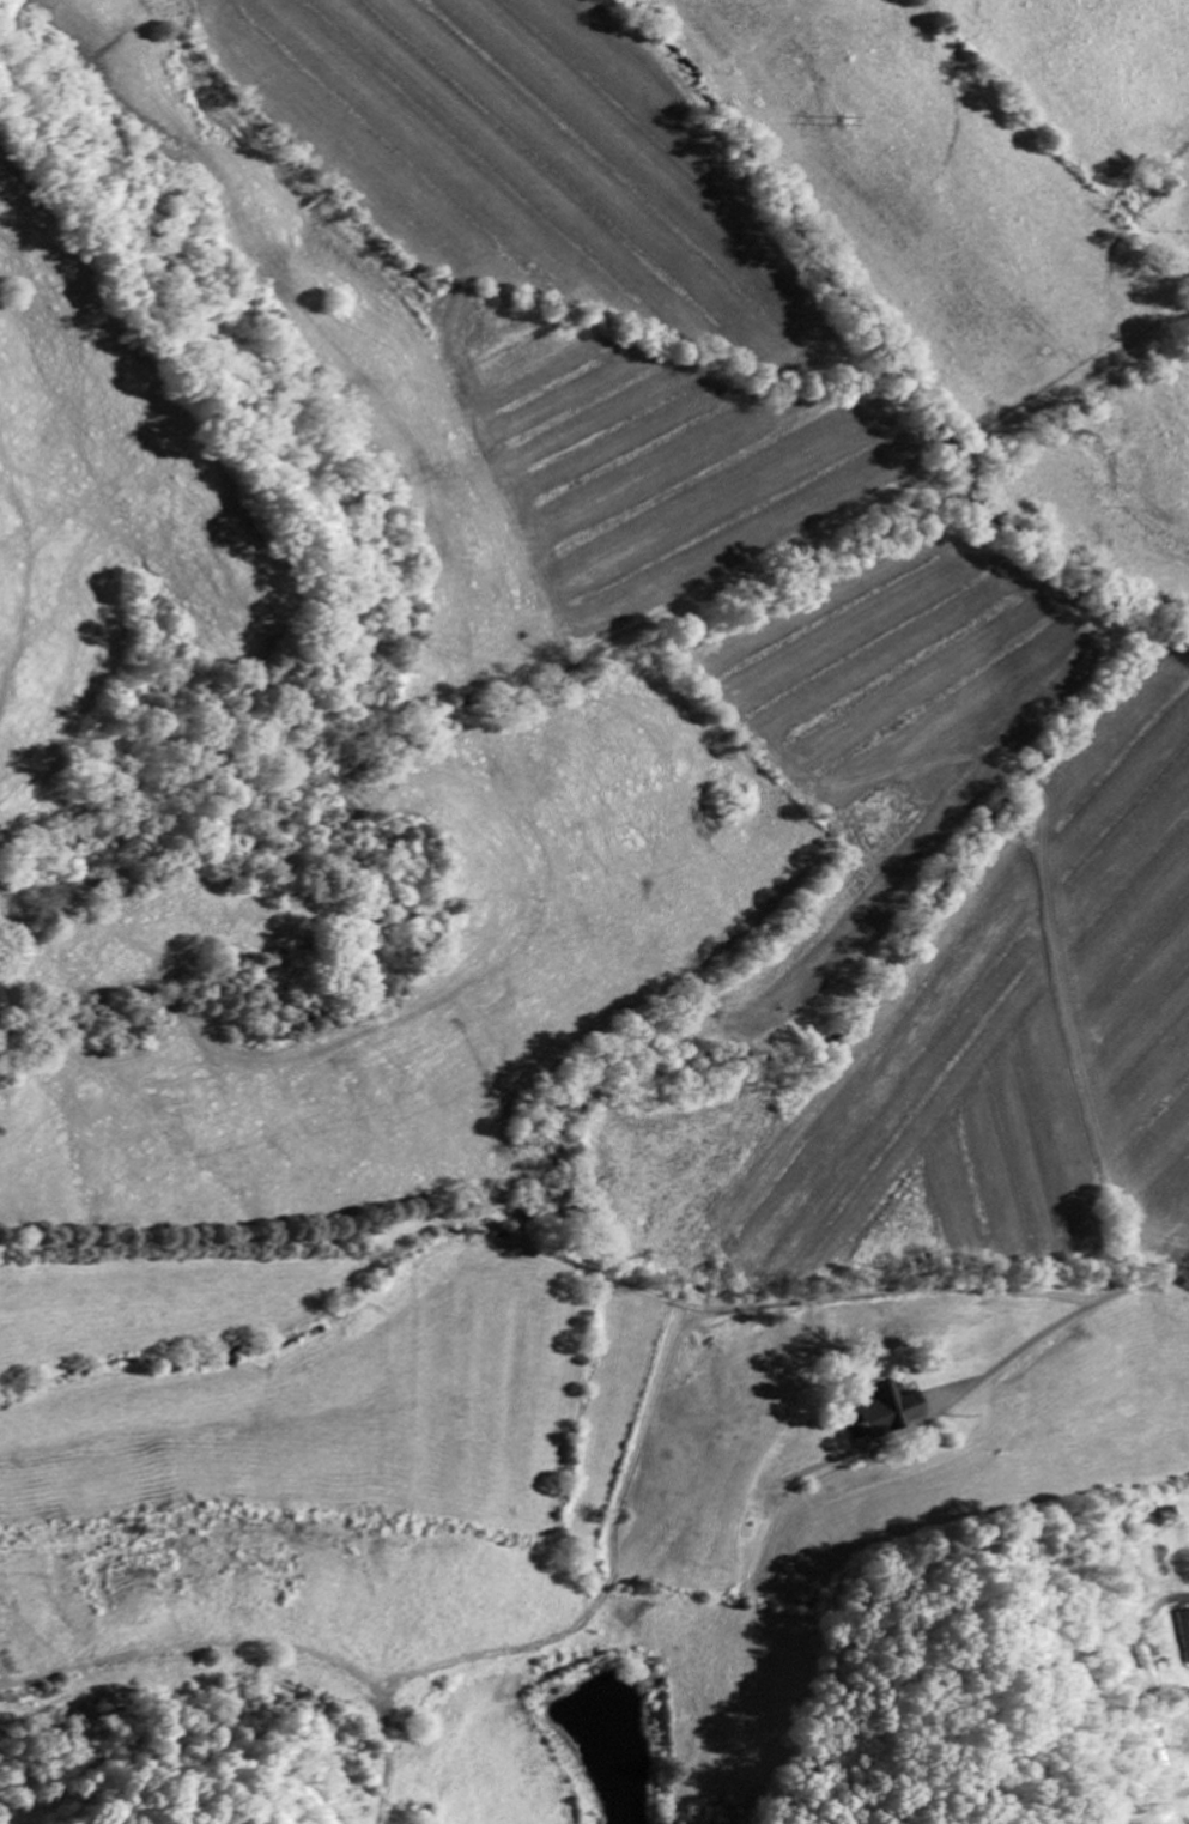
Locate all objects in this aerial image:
road: (757, 1268)
building: (892, 1414)
building: (1184, 1635)

